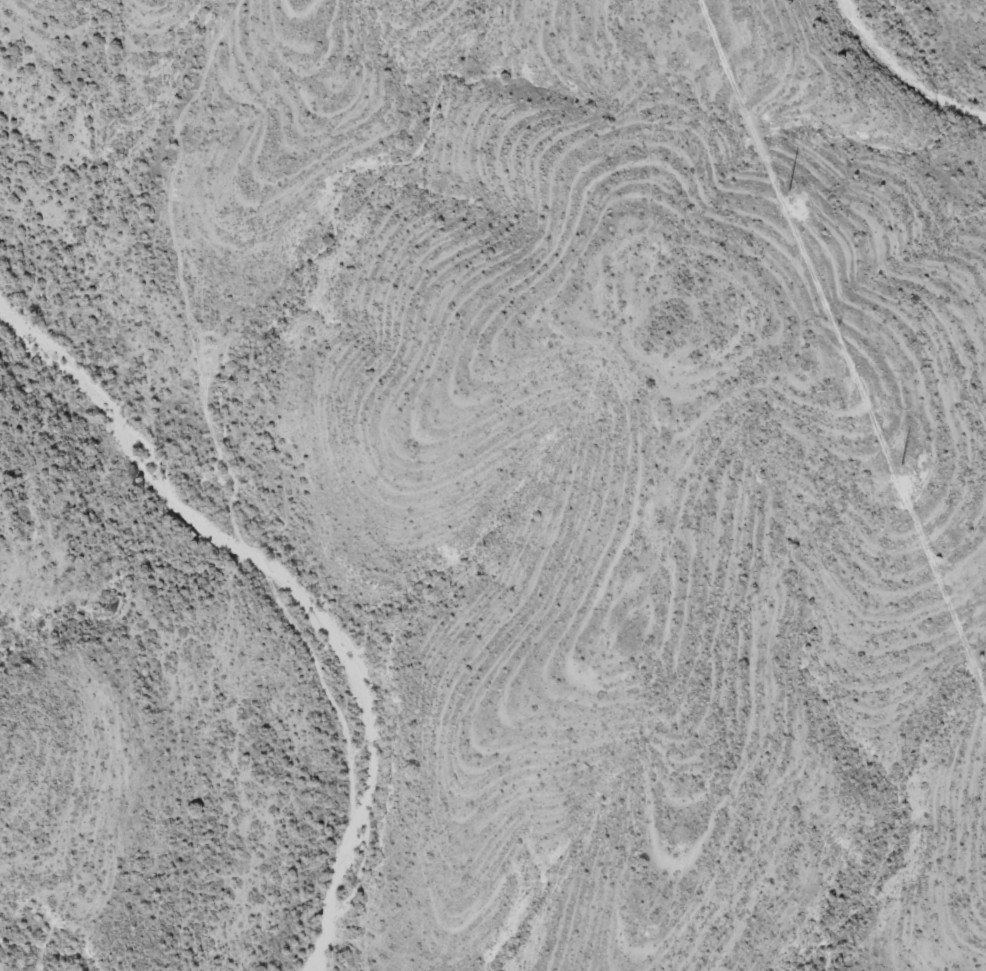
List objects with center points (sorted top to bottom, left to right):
power tower: (788, 187)
power tower: (902, 460)

